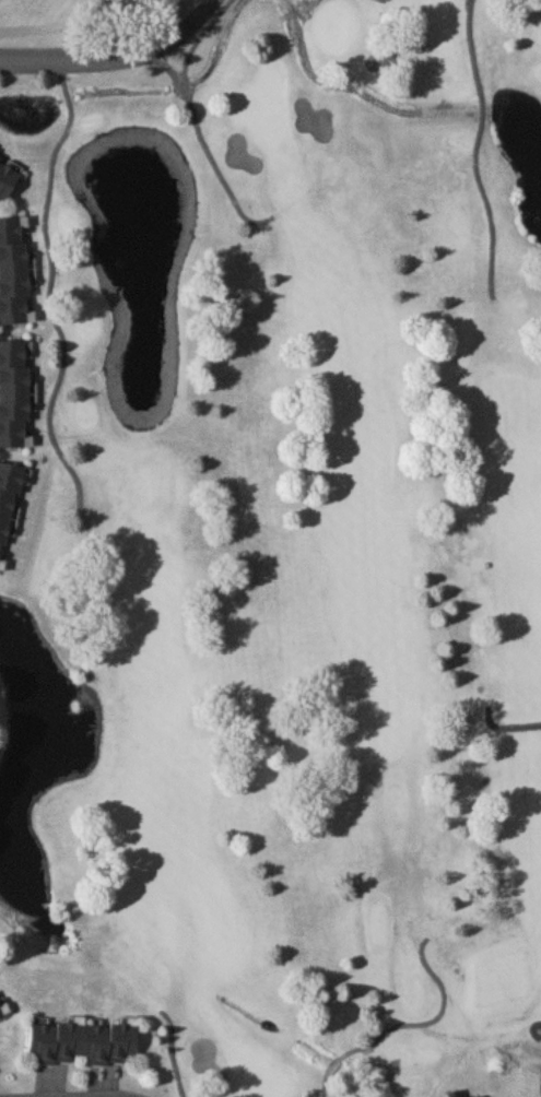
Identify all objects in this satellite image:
road: (116, 55)
building: (8, 176)
building: (13, 271)
building: (14, 394)
building: (8, 499)
park: (286, 535)
building: (1, 1014)
building: (81, 1042)

